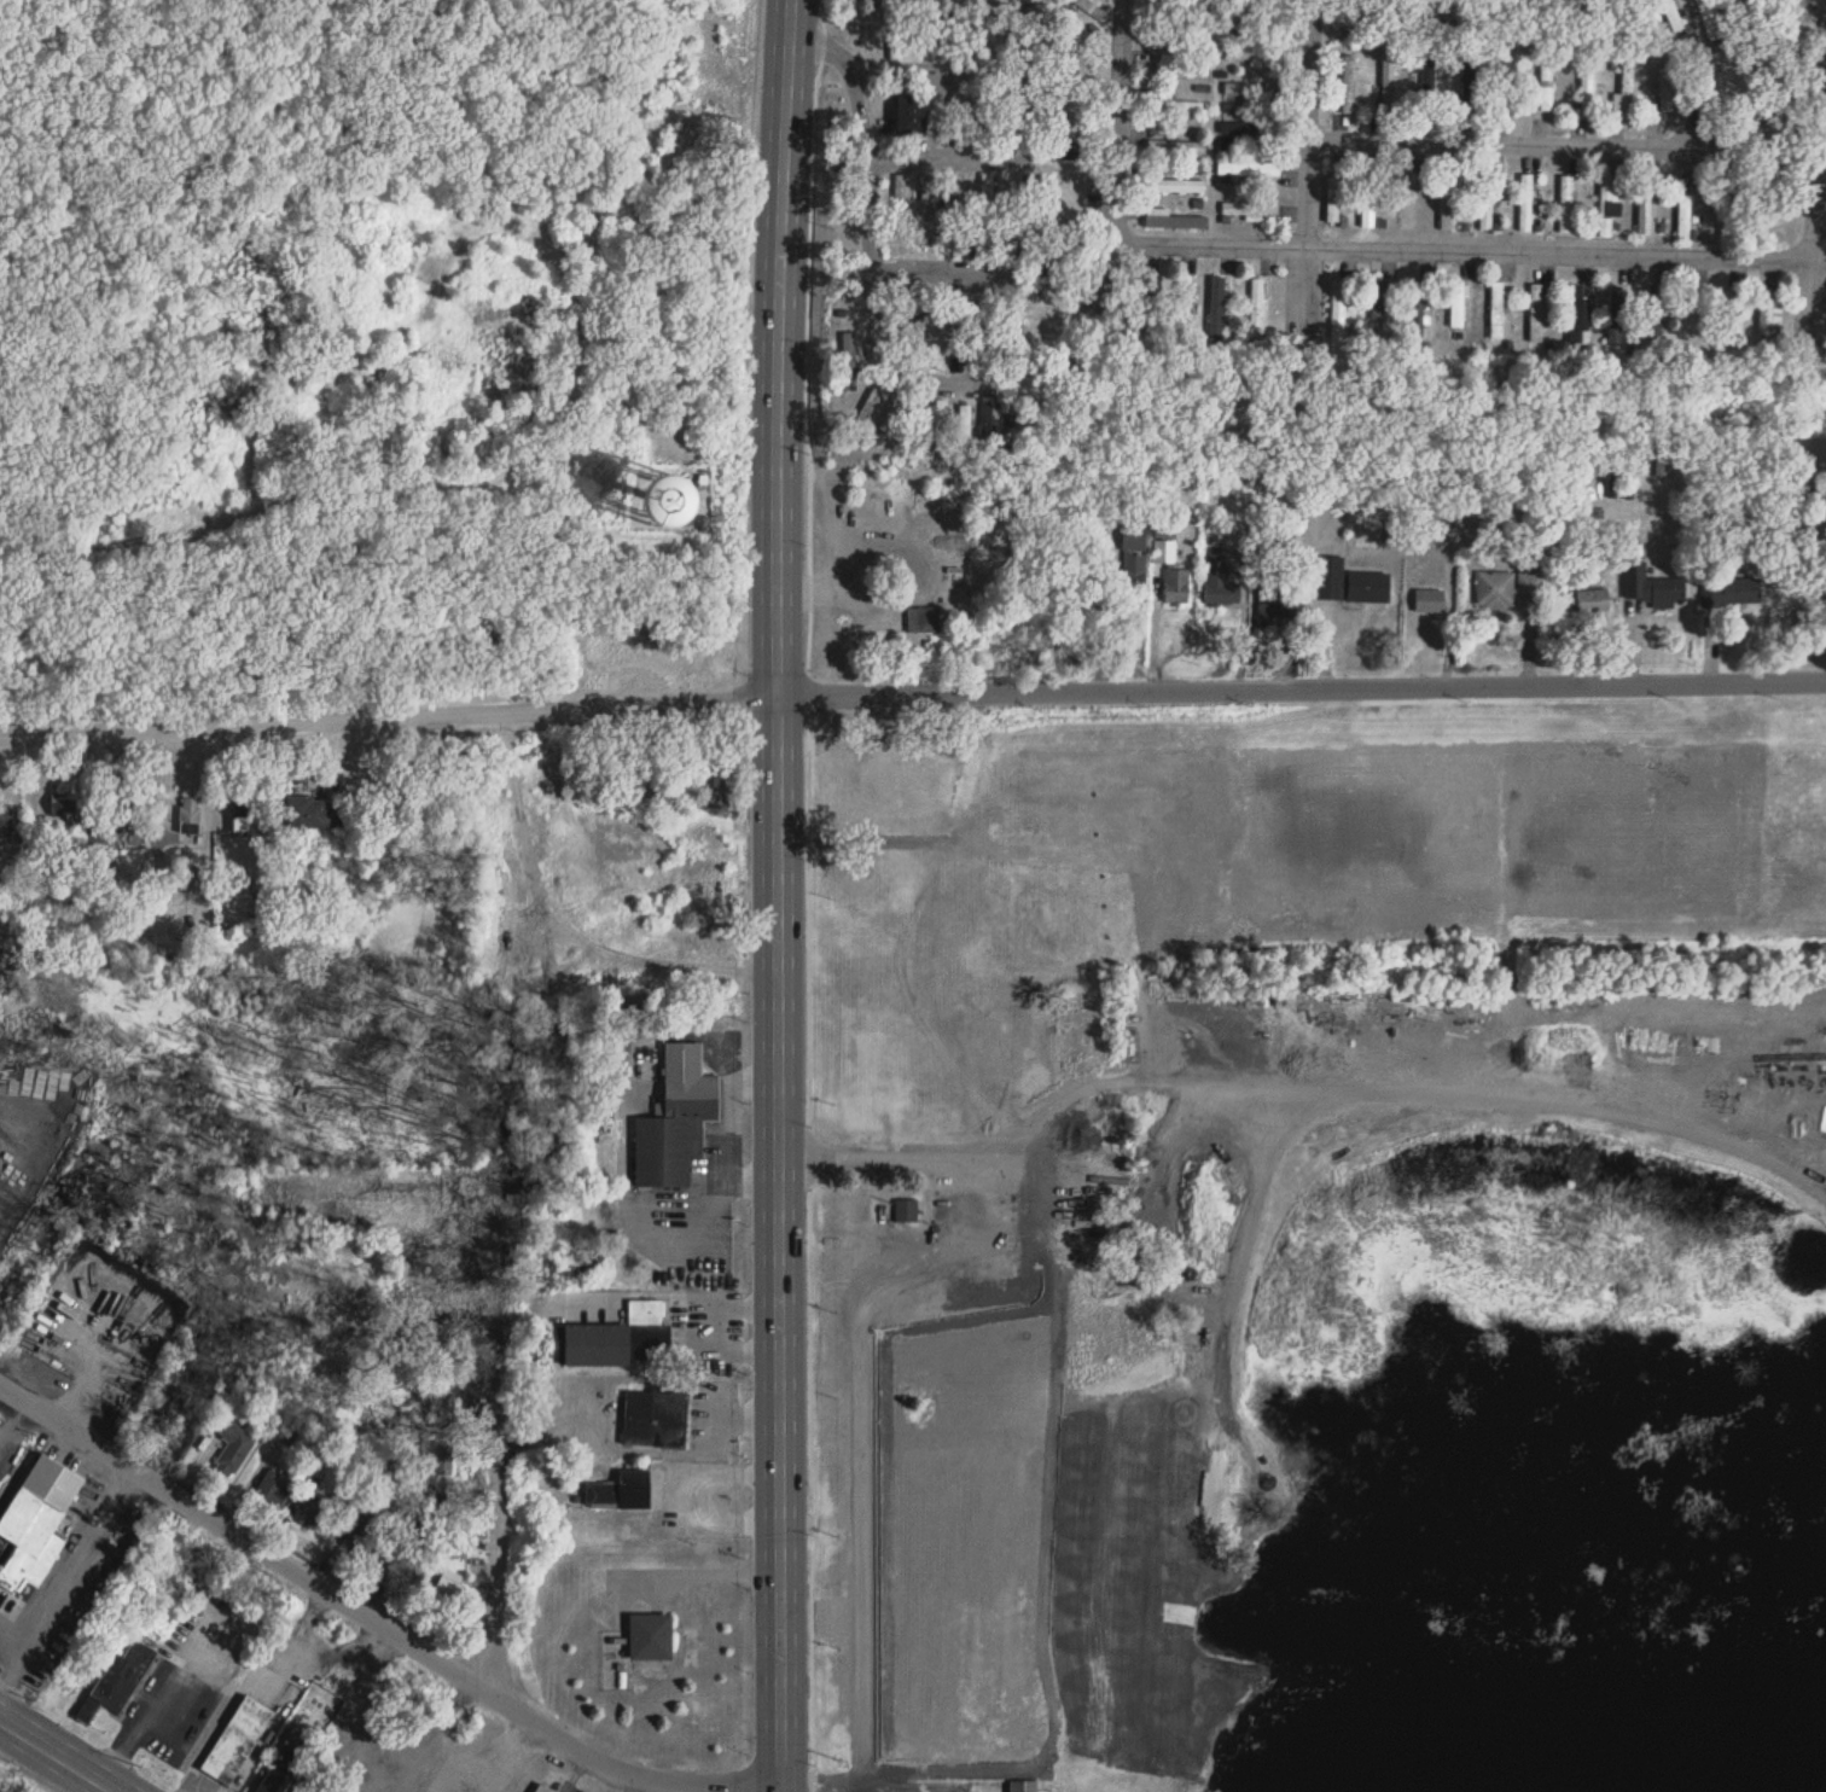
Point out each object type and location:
building: (1239, 6)
building: (1263, 10)
building: (1192, 11)
building: (1219, 11)
building: (1283, 12)
building: (1353, 13)
building: (1459, 13)
building: (1430, 14)
building: (1529, 14)
building: (1673, 14)
building: (1600, 17)
building: (1710, 19)
building: (1749, 21)
building: (1784, 30)
building: (948, 33)
building: (894, 36)
building: (1001, 36)
road: (821, 39)
building: (1252, 53)
building: (1292, 62)
building: (1181, 66)
road: (1016, 72)
building: (1427, 81)
building: (1388, 82)
building: (1348, 83)
building: (1546, 85)
building: (1667, 85)
building: (1705, 85)
building: (1469, 87)
building: (1507, 87)
building: (1252, 88)
building: (1587, 89)
building: (1626, 94)
building: (1774, 104)
building: (1182, 106)
building: (973, 110)
building: (911, 115)
road: (1129, 122)
road: (1319, 124)
building: (1254, 130)
building: (1290, 139)
building: (1774, 139)
road: (1517, 144)
building: (1176, 146)
building: (1254, 170)
building: (1766, 180)
building: (1175, 185)
building: (987, 193)
building: (926, 194)
building: (949, 194)
building: (1024, 198)
building: (1333, 199)
building: (1409, 199)
building: (1368, 200)
building: (1447, 202)
building: (1487, 202)
building: (1526, 203)
building: (1566, 204)
building: (1610, 204)
building: (1645, 205)
building: (1246, 210)
building: (1287, 211)
building: (1685, 217)
building: (1768, 219)
road: (868, 220)
building: (1173, 220)
building: (970, 237)
road: (1824, 246)
road: (1465, 255)
road: (944, 270)
building: (1058, 281)
building: (1103, 293)
building: (1257, 302)
building: (1378, 302)
building: (913, 304)
building: (1185, 304)
building: (1458, 304)
building: (1217, 306)
building: (1417, 309)
building: (1498, 310)
building: (1141, 312)
building: (1338, 312)
building: (1537, 313)
building: (1578, 315)
building: (1616, 315)
building: (1692, 315)
building: (978, 316)
building: (1728, 316)
building: (1656, 318)
building: (1766, 318)
building: (851, 356)
building: (923, 363)
park: (291, 382)
road: (1001, 382)
building: (871, 401)
building: (892, 412)
building: (940, 425)
building: (965, 429)
building: (1246, 475)
road: (383, 485)
building: (663, 501)
water tower: (662, 502)
building: (1164, 551)
building: (1134, 563)
building: (1220, 578)
building: (1348, 578)
building: (1176, 586)
building: (1652, 586)
building: (1507, 587)
building: (1733, 592)
building: (1593, 599)
building: (1430, 600)
building: (1278, 601)
building: (923, 618)
building: (615, 645)
road: (912, 692)
building: (877, 767)
building: (714, 773)
building: (63, 805)
building: (122, 808)
building: (254, 810)
building: (1010, 811)
building: (315, 814)
building: (190, 819)
building: (5, 820)
road: (777, 895)
road: (1301, 1084)
building: (676, 1122)
building: (907, 1210)
building: (622, 1339)
building: (656, 1420)
road: (70, 1425)
road: (505, 1427)
building: (232, 1444)
building: (272, 1491)
building: (616, 1496)
building: (313, 1509)
building: (34, 1518)
building: (359, 1534)
building: (452, 1537)
road: (1039, 1537)
building: (407, 1563)
building: (905, 1578)
road: (70, 1592)
building: (448, 1592)
building: (651, 1637)
road: (450, 1663)
building: (117, 1680)
road: (246, 1683)
road: (156, 1700)
building: (473, 1733)
building: (237, 1740)
road: (54, 1755)
building: (283, 1770)
building: (1024, 1786)
building: (459, 1787)
building: (543, 1787)
road: (795, 1790)

